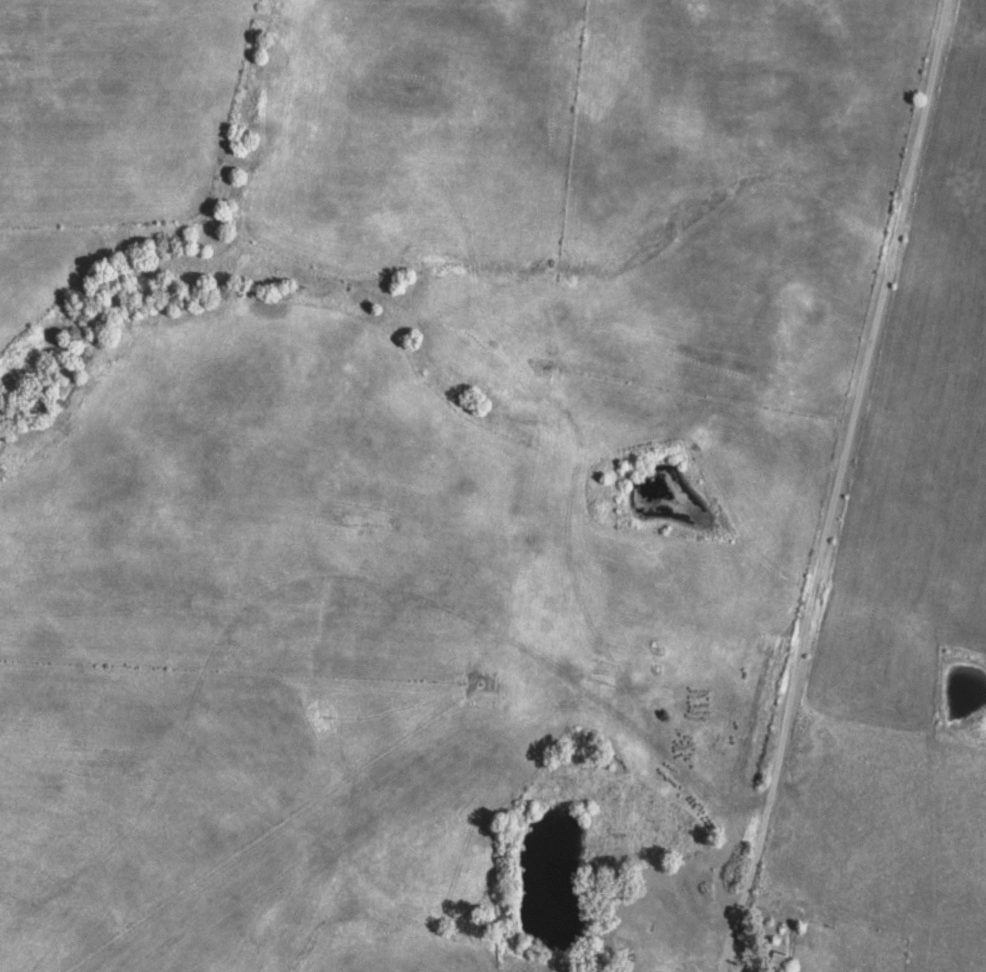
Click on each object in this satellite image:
road: (838, 486)

